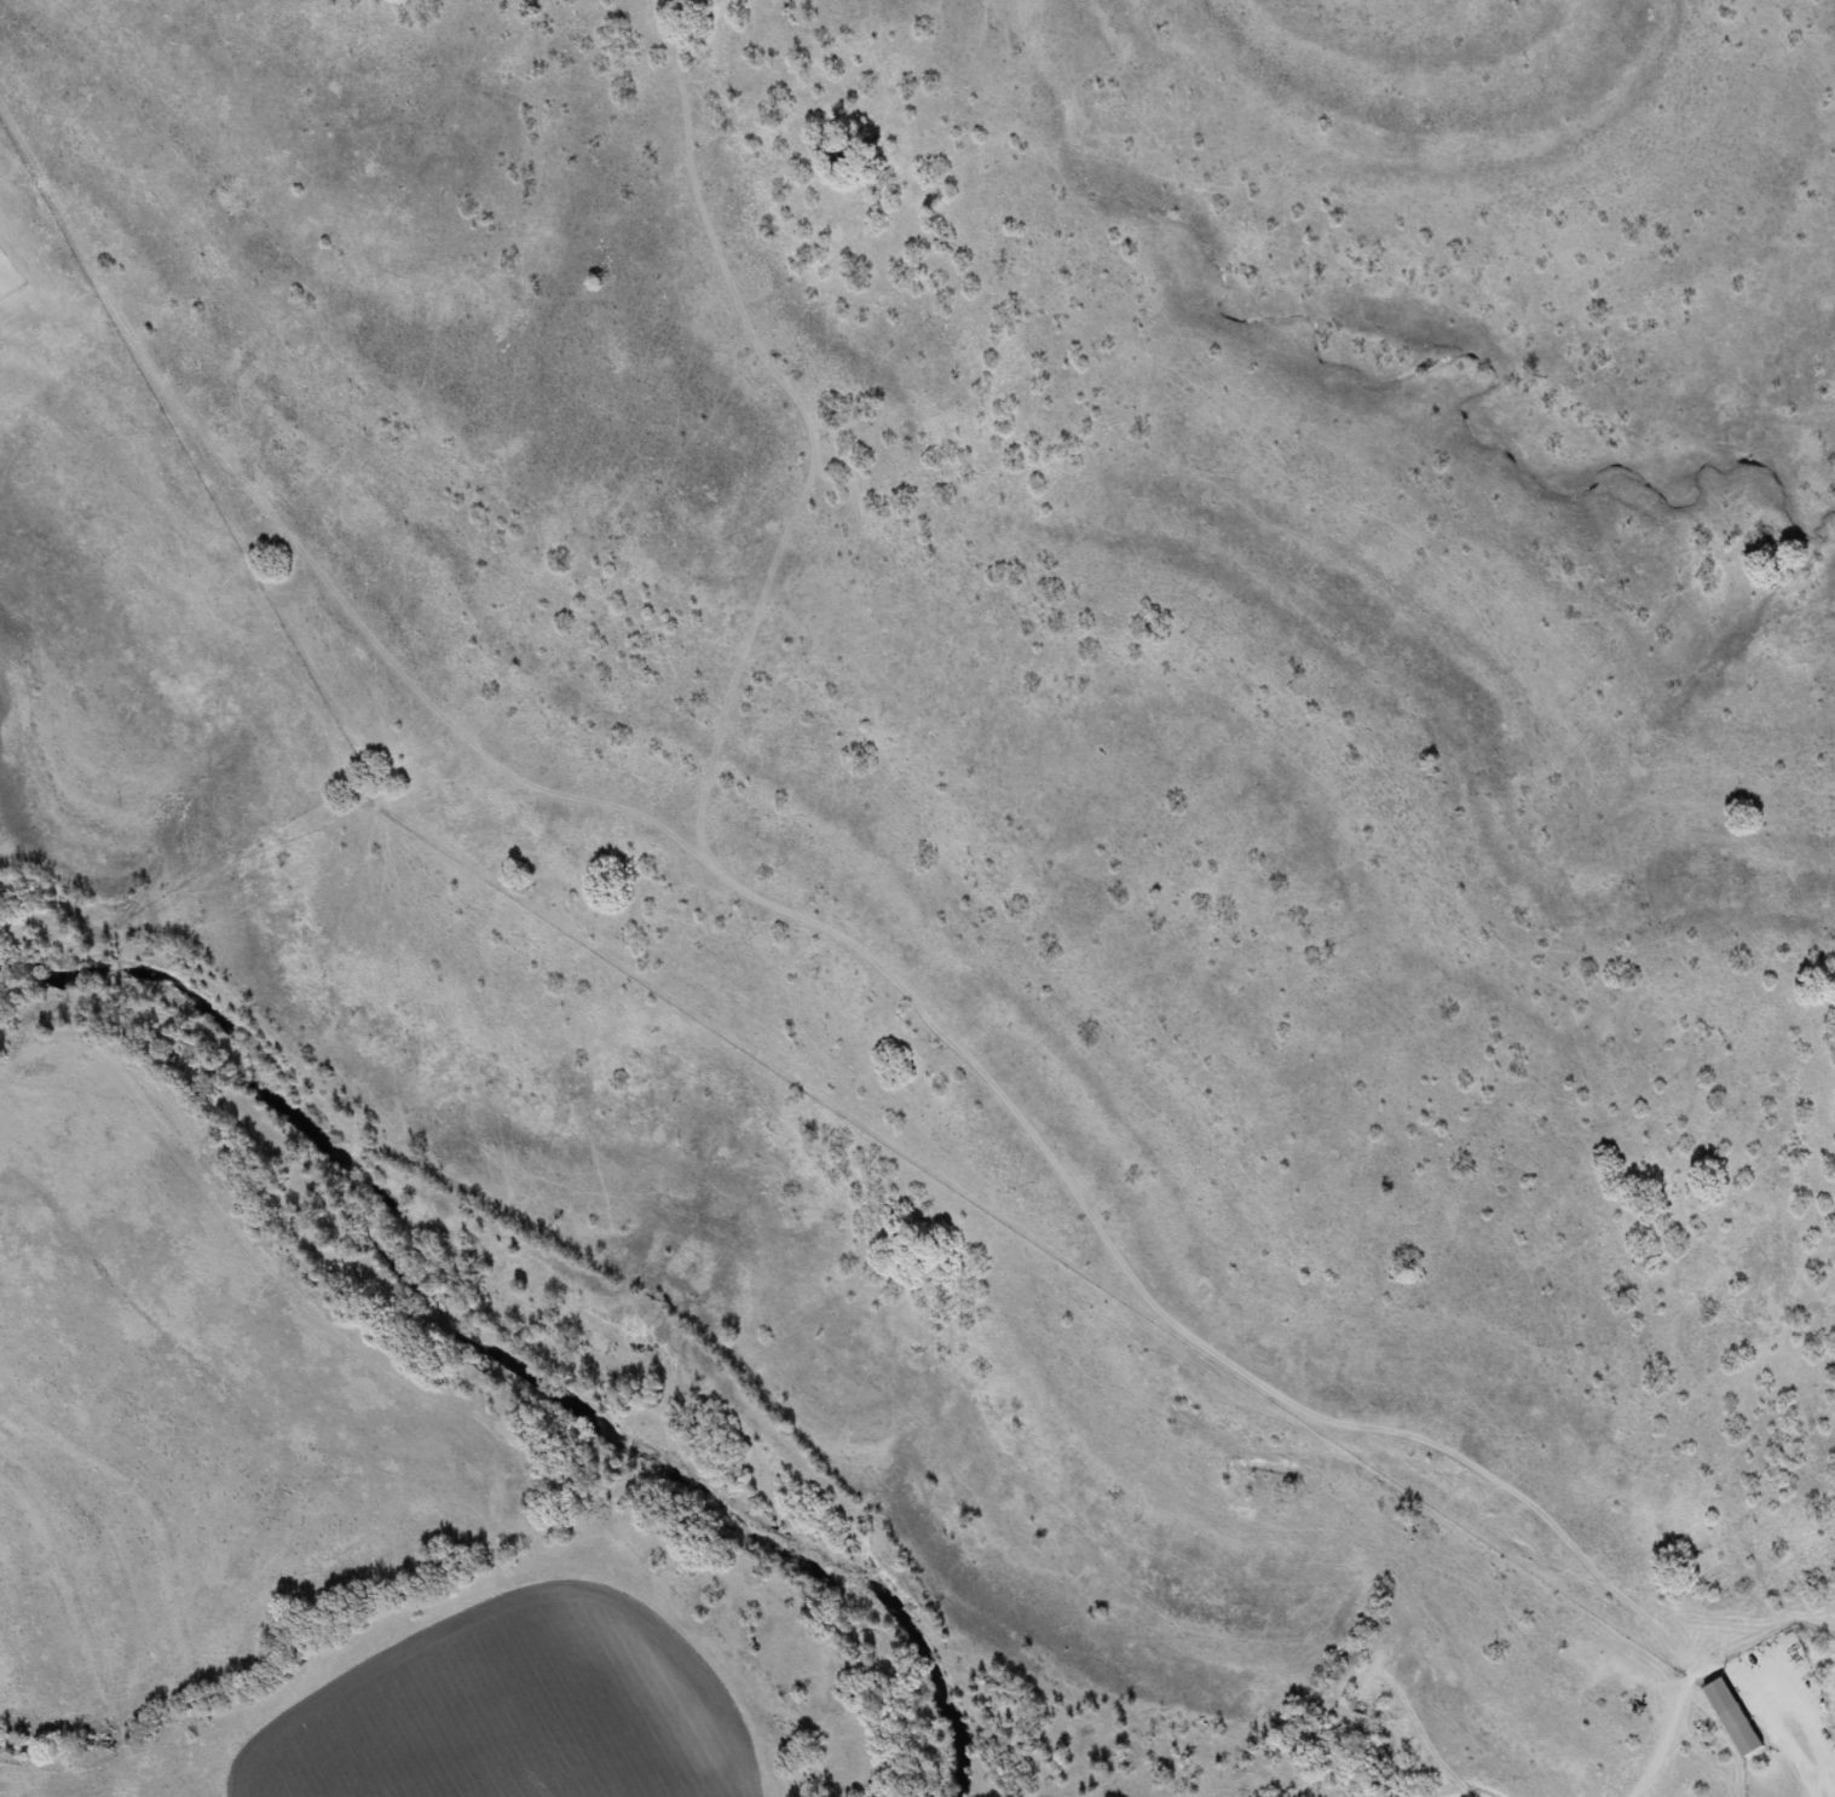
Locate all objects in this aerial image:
road: (1808, 1698)
building: (1732, 1717)
road: (1468, 1789)

